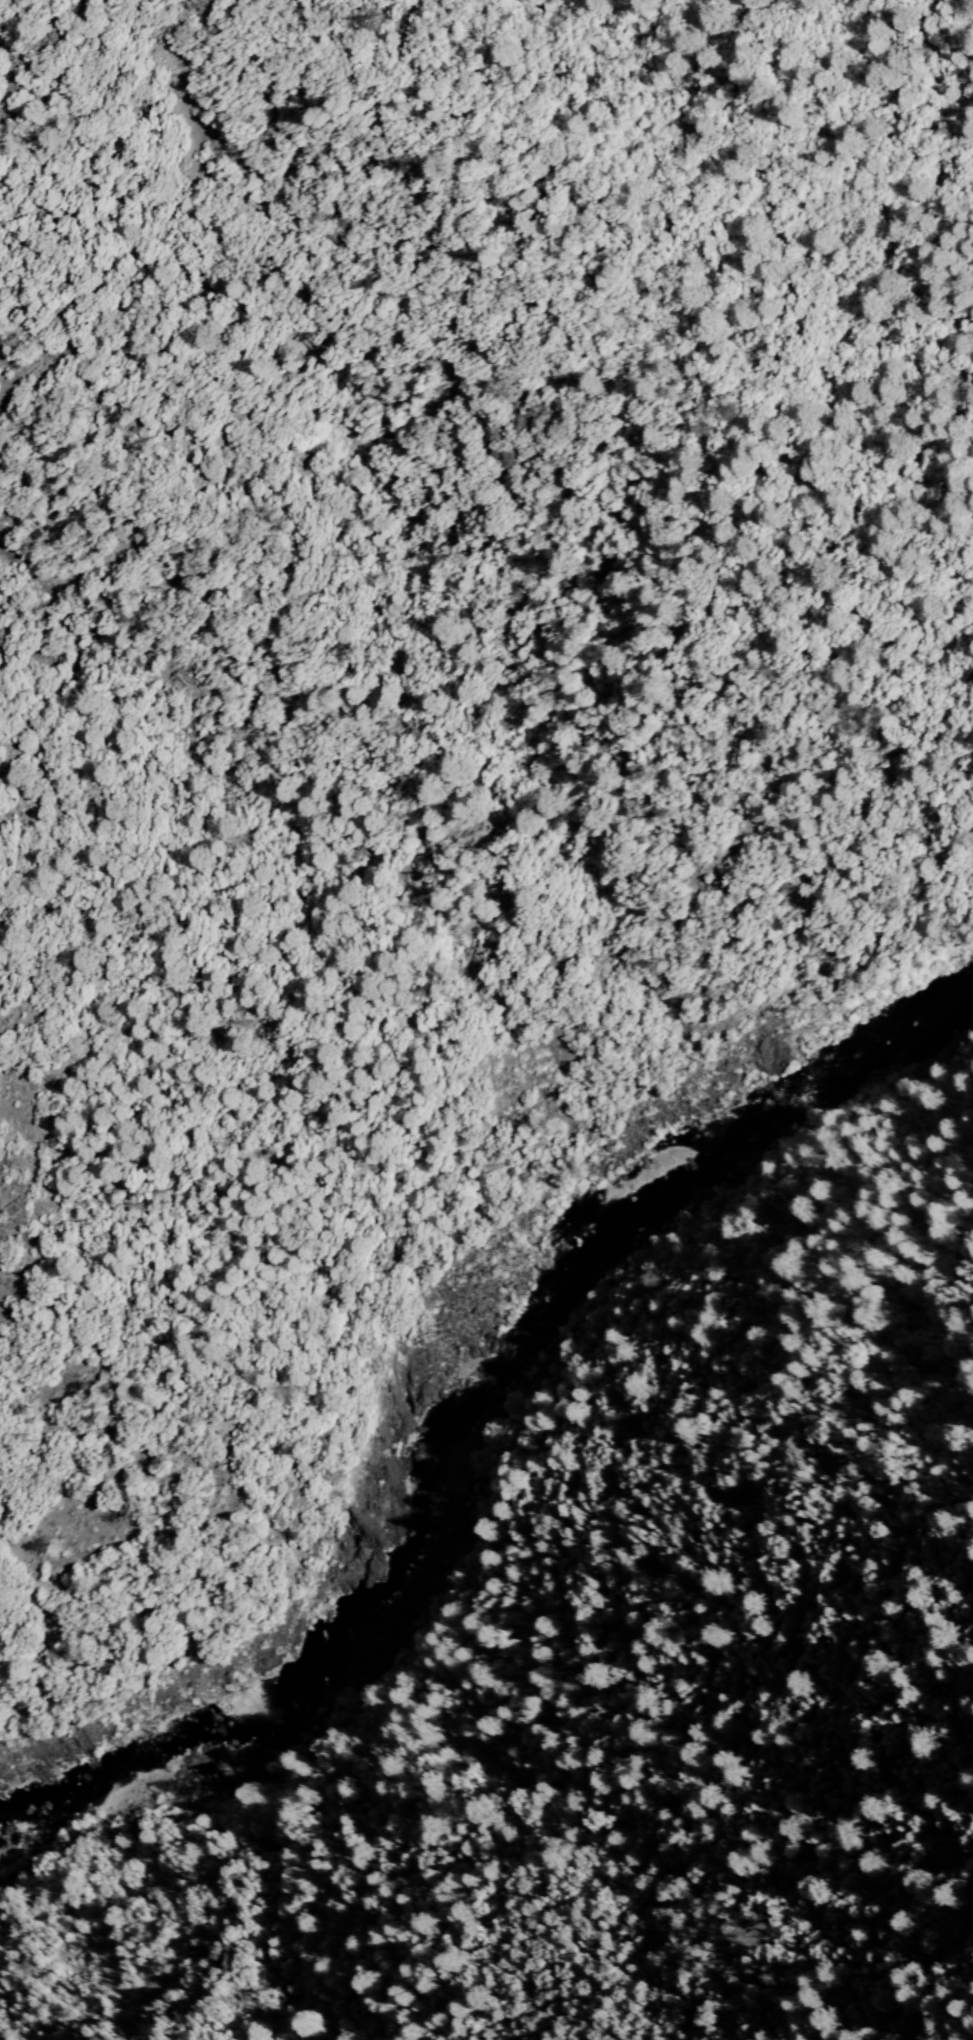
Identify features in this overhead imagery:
road: (403, 1141)
river: (485, 1325)
river: (54, 1773)

